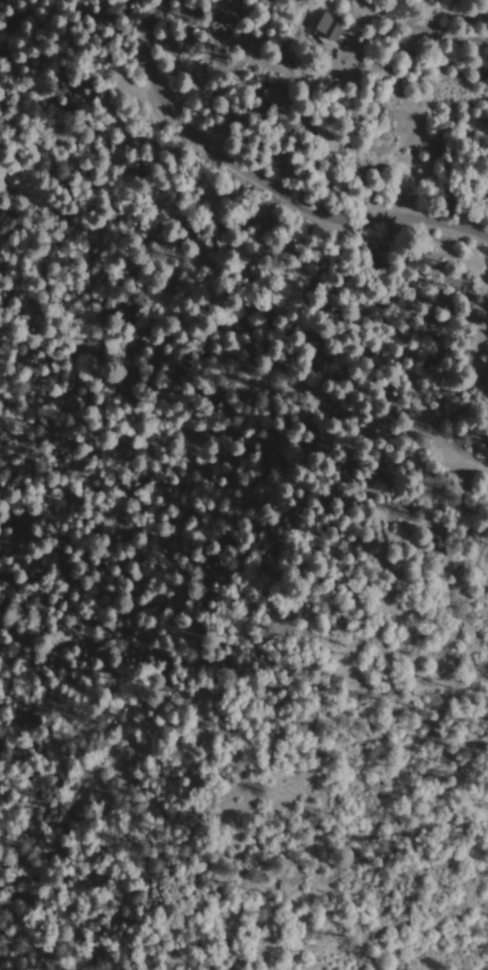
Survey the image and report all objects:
building: (123, 11)
building: (240, 12)
building: (338, 27)
building: (287, 98)
road: (342, 216)

